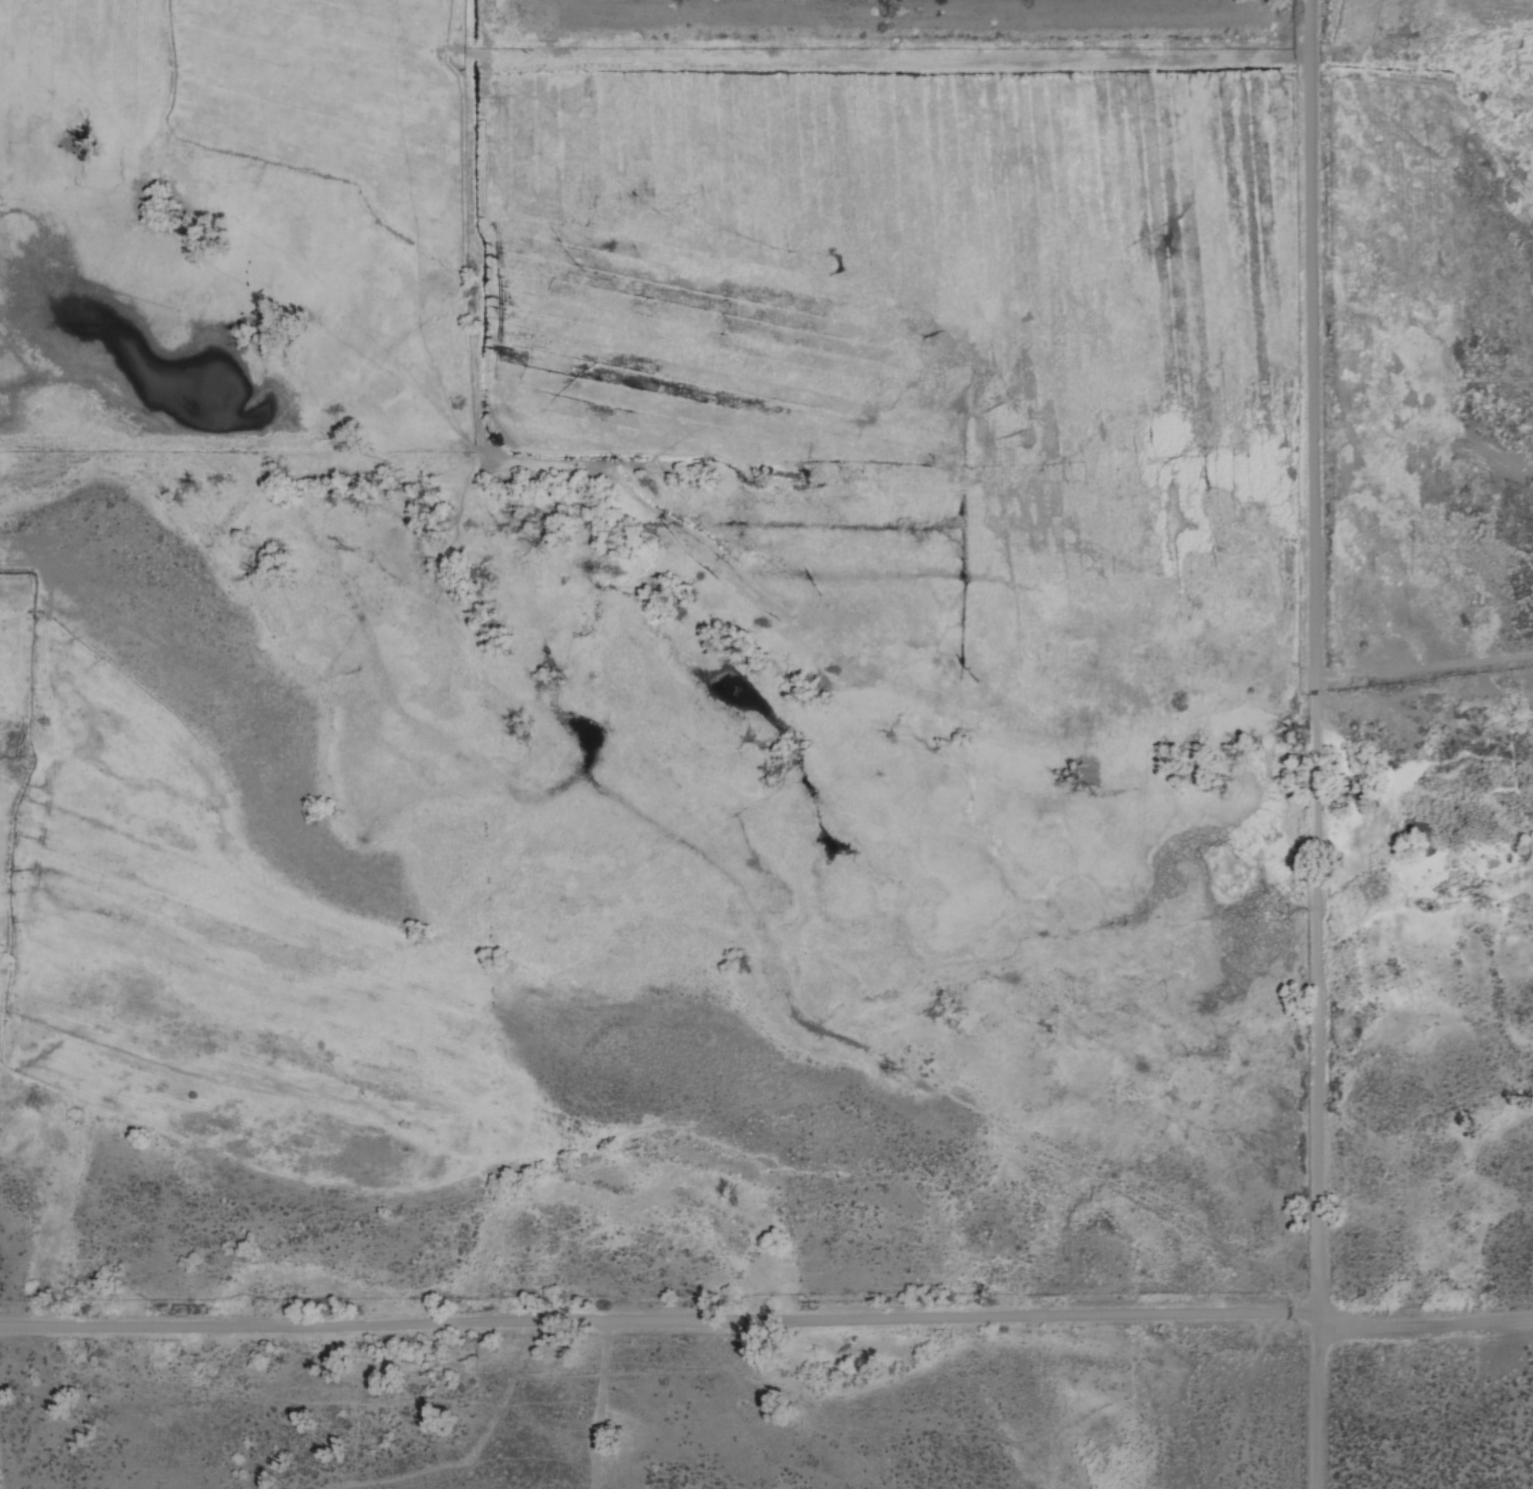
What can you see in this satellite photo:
wastewater plant: (863, 32)
road: (1319, 744)
road: (1426, 1316)
road: (660, 1318)

